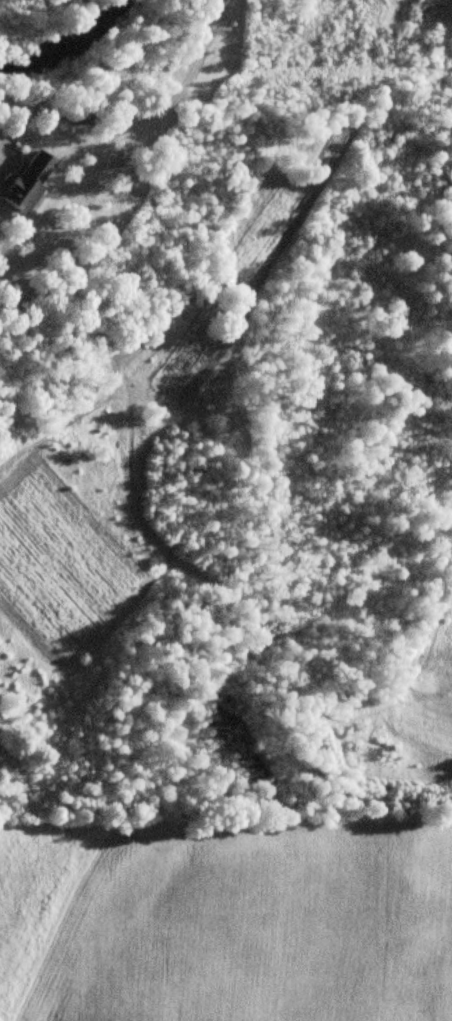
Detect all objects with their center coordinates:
river: (62, 42)
road: (168, 109)
building: (29, 182)

